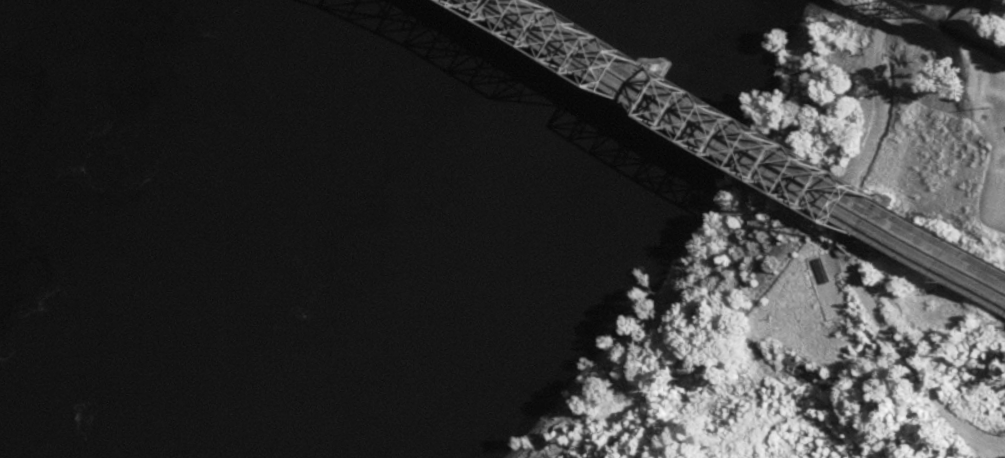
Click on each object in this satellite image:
road: (996, 1)
railway: (915, 22)
railway: (985, 51)
road: (745, 150)
road: (725, 162)
road: (1004, 308)
road: (877, 315)
road: (761, 380)

